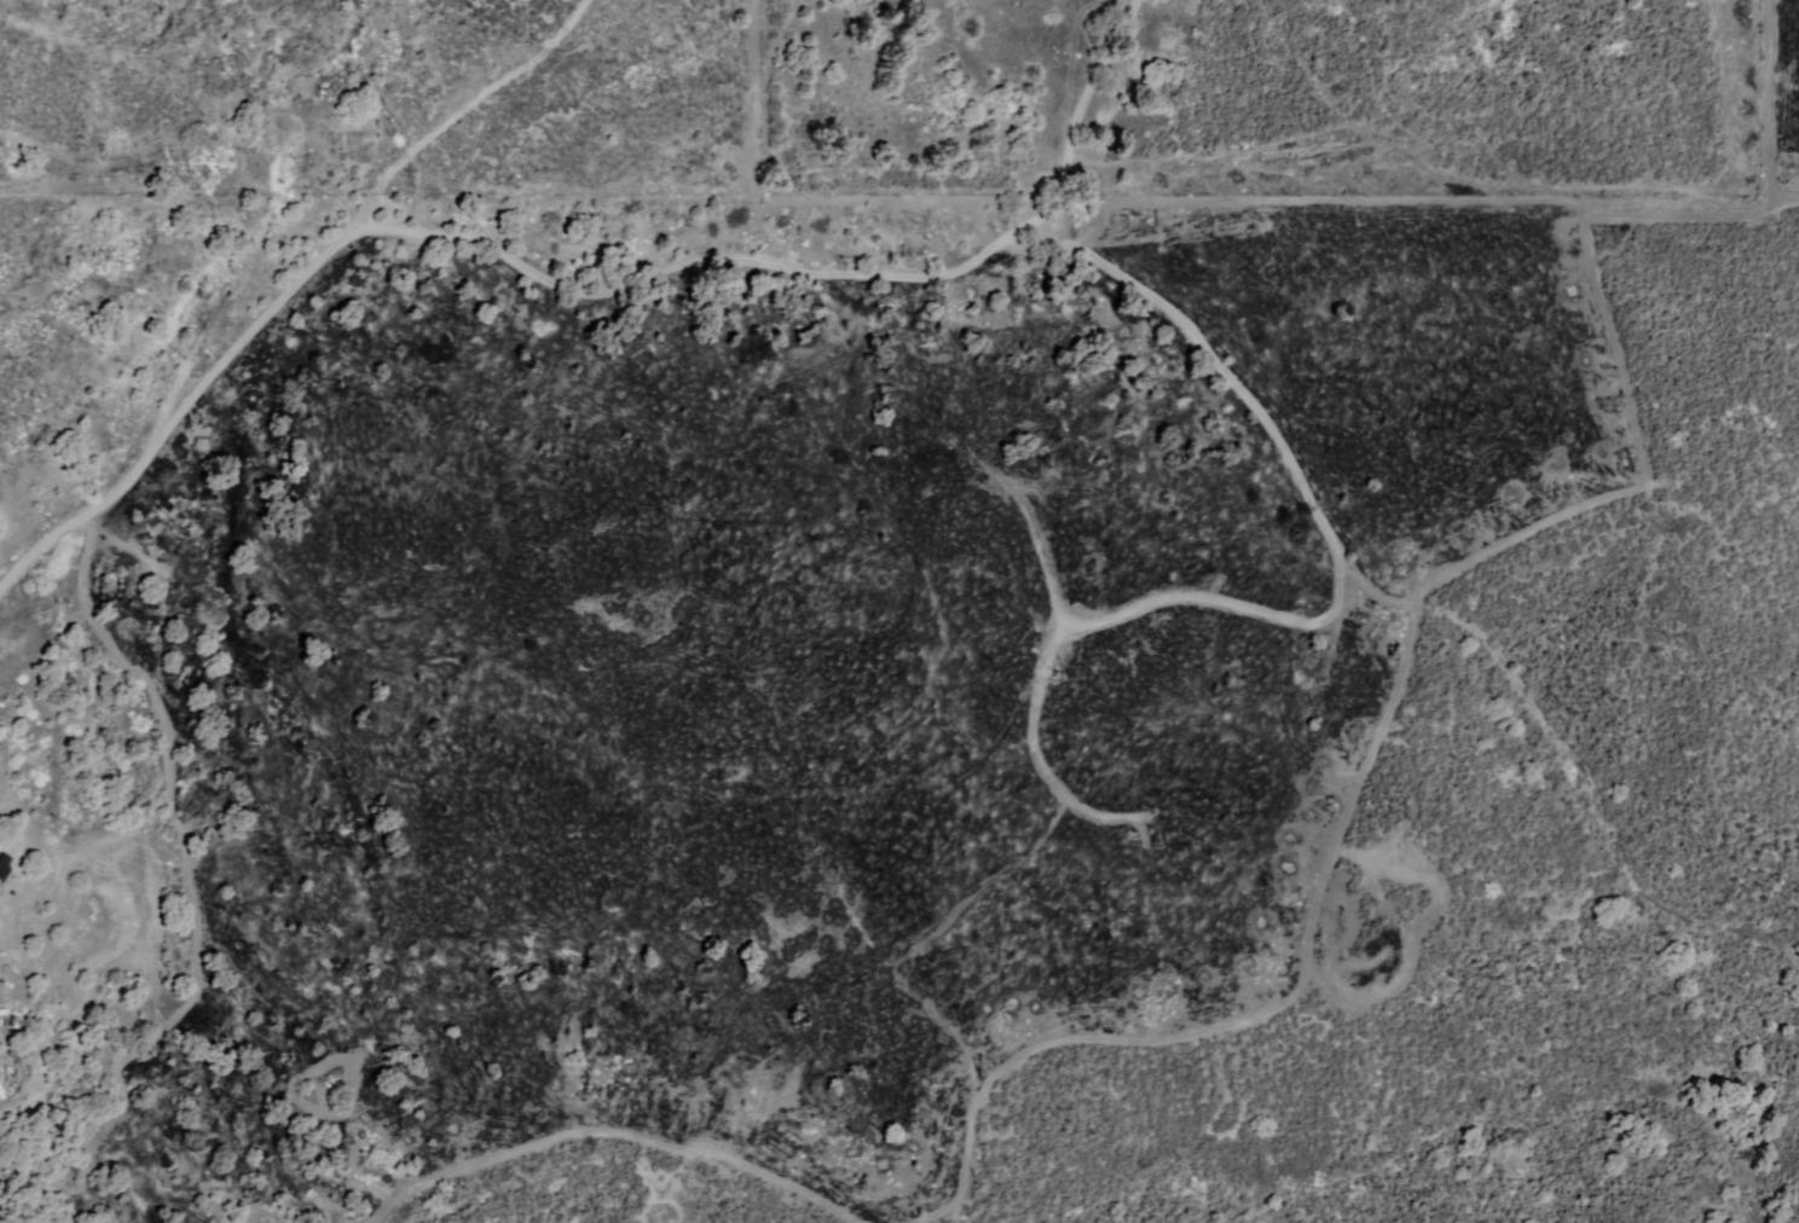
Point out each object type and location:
road: (567, 290)
building: (5, 868)
building: (4, 1089)

